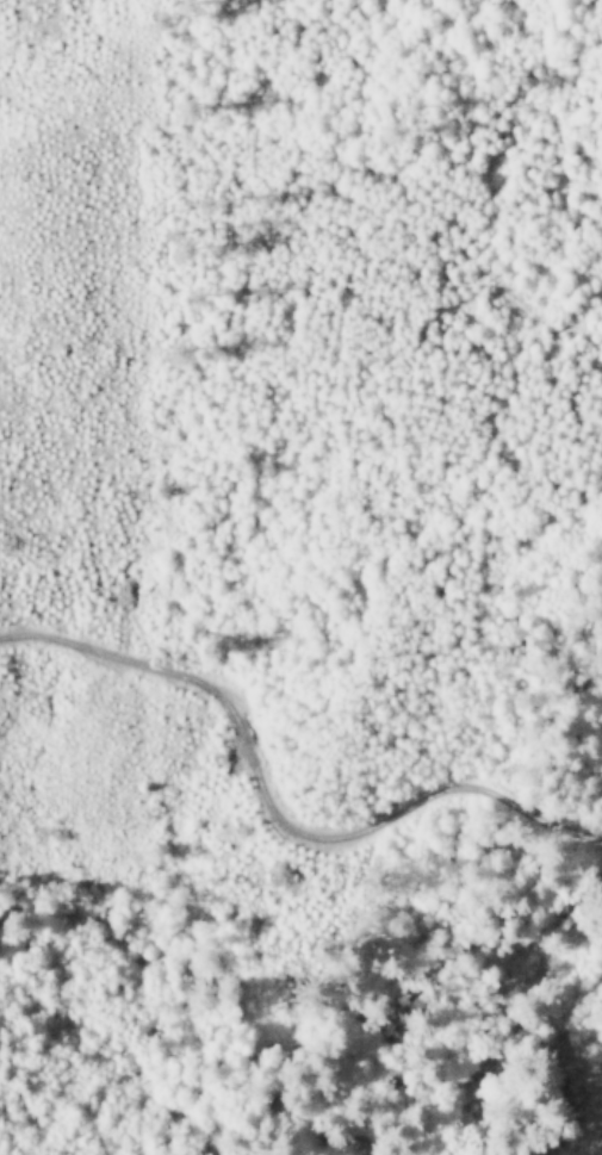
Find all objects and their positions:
road: (435, 590)
road: (281, 766)

